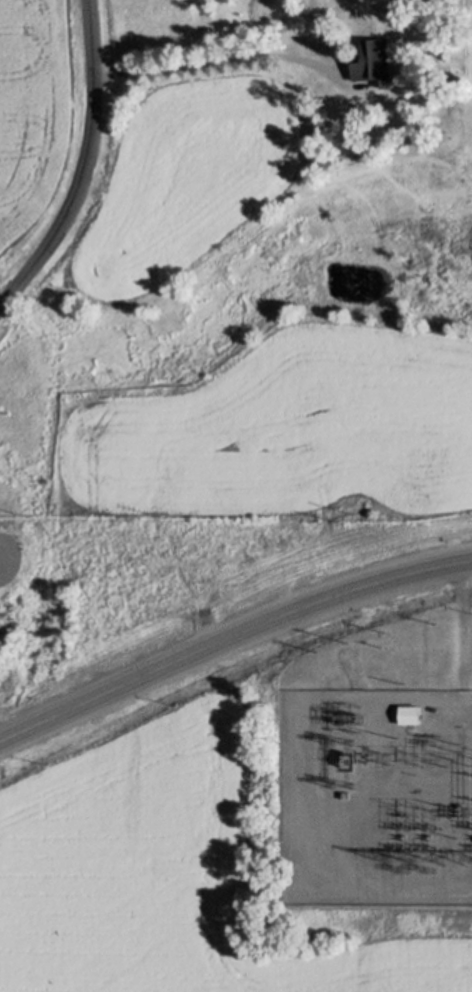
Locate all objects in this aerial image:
building: (374, 54)
road: (214, 59)
road: (87, 167)
road: (231, 638)
building: (412, 709)
power substation: (377, 795)

